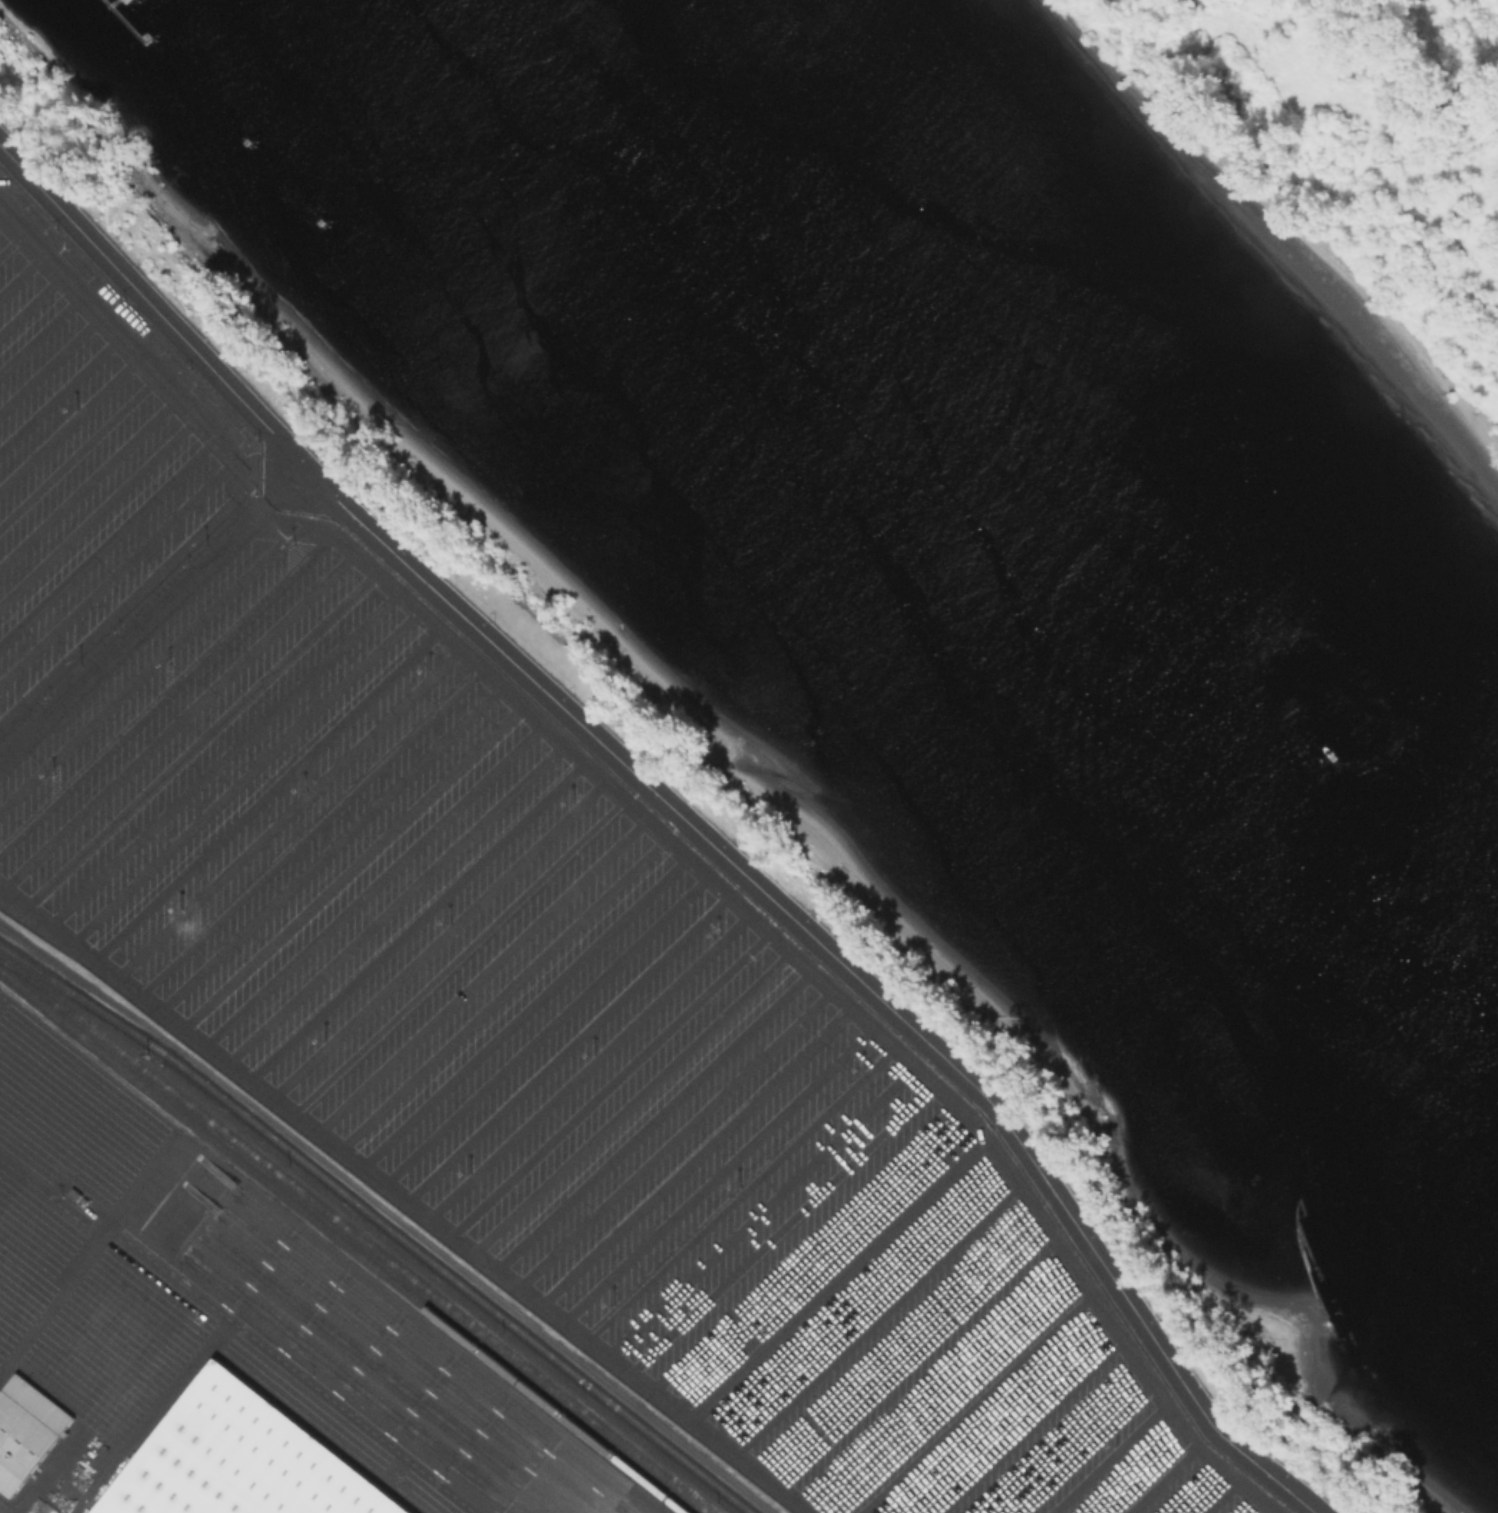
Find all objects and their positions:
pier: (126, 20)
road: (2, 210)
road: (11, 239)
road: (21, 271)
road: (30, 298)
road: (41, 333)
road: (51, 364)
road: (59, 389)
road: (68, 417)
road: (79, 449)
road: (88, 479)
road: (98, 509)
river: (1017, 511)
road: (108, 539)
road: (150, 611)
road: (146, 666)
road: (168, 692)
road: (178, 720)
road: (199, 738)
road: (222, 756)
road: (243, 774)
road: (266, 793)
road: (288, 811)
road: (676, 811)
road: (656, 828)
road: (311, 830)
road: (331, 846)
road: (353, 865)
road: (373, 882)
road: (396, 902)
road: (417, 919)
road: (438, 937)
road: (459, 956)
road: (480, 973)
railway: (26, 981)
road: (500, 990)
road: (523, 1010)
road: (545, 1028)
road: (567, 1046)
road: (588, 1064)
road: (608, 1082)
road: (629, 1099)
road: (651, 1118)
road: (672, 1136)
road: (694, 1154)
road: (716, 1173)
road: (739, 1193)
road: (406, 1198)
road: (759, 1209)
road: (389, 1214)
railway: (379, 1223)
road: (779, 1227)
railway: (353, 1236)
railway: (345, 1243)
road: (803, 1247)
road: (90, 1256)
road: (835, 1276)
road: (857, 1300)
road: (876, 1320)
road: (893, 1338)
railway: (450, 1351)
railway: (439, 1355)
road: (910, 1355)
railway: (423, 1360)
railway: (411, 1364)
railway: (395, 1370)
railway: (381, 1375)
road: (930, 1376)
railway: (367, 1383)
railway: (356, 1390)
road: (949, 1391)
road: (976, 1402)
road: (1004, 1414)
road: (1031, 1425)
building: (26, 1430)
road: (1056, 1435)
road: (1083, 1446)
road: (1109, 1457)
building: (244, 1460)
road: (1137, 1468)
road: (1162, 1478)
road: (1190, 1487)
road: (1220, 1496)
road: (1250, 1505)

